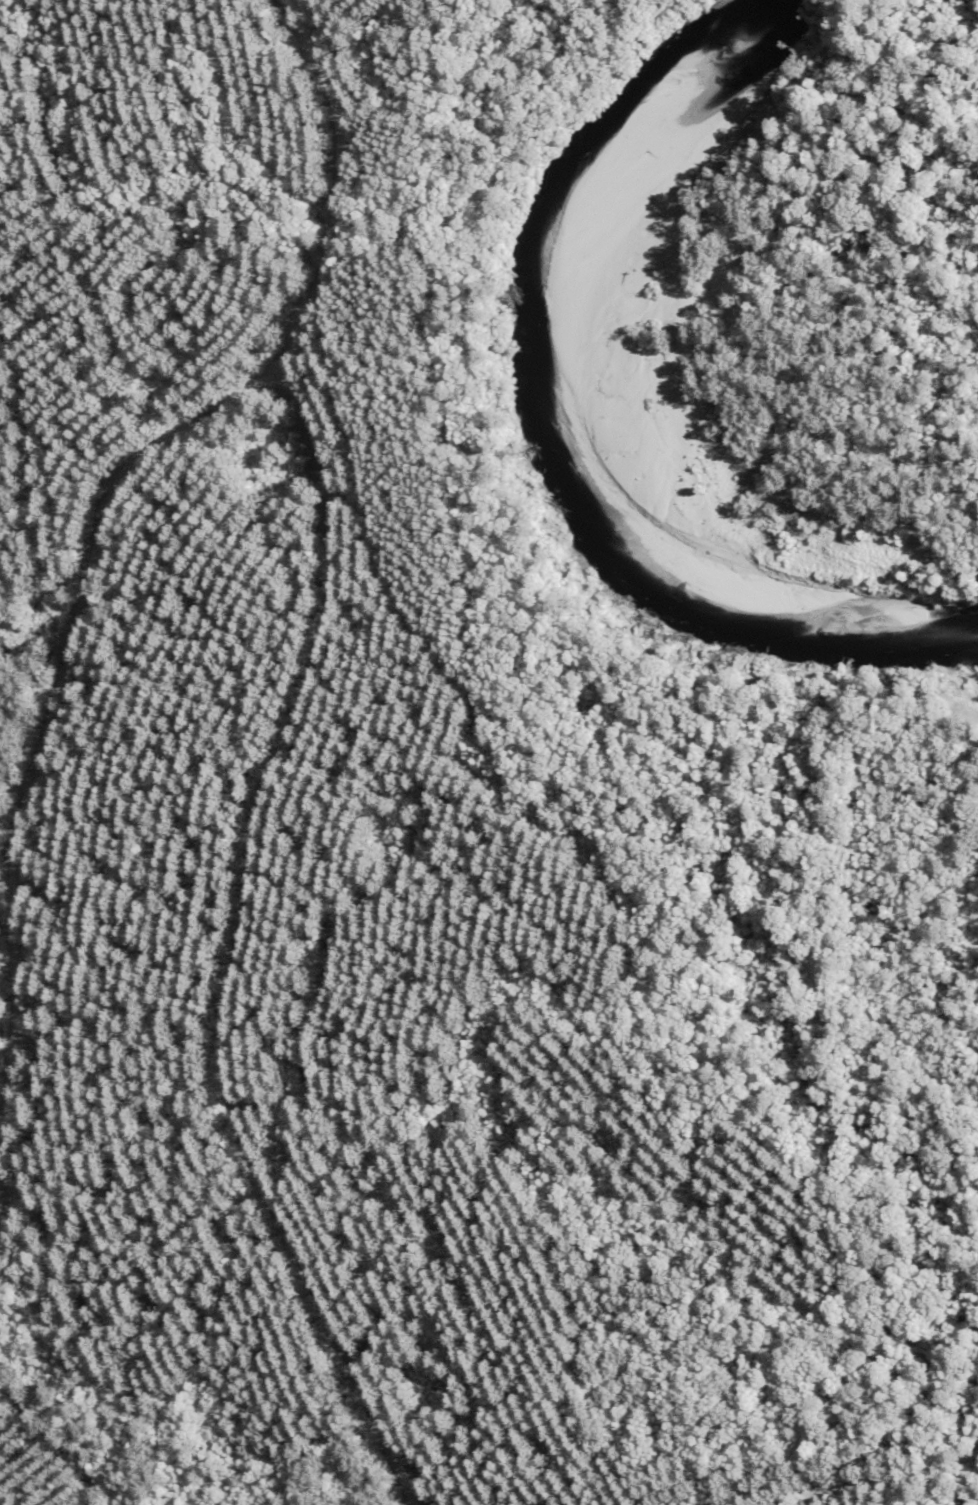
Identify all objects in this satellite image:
road: (843, 166)
road: (331, 253)
river: (545, 424)
road: (45, 732)
road: (237, 1022)
road: (884, 1484)

